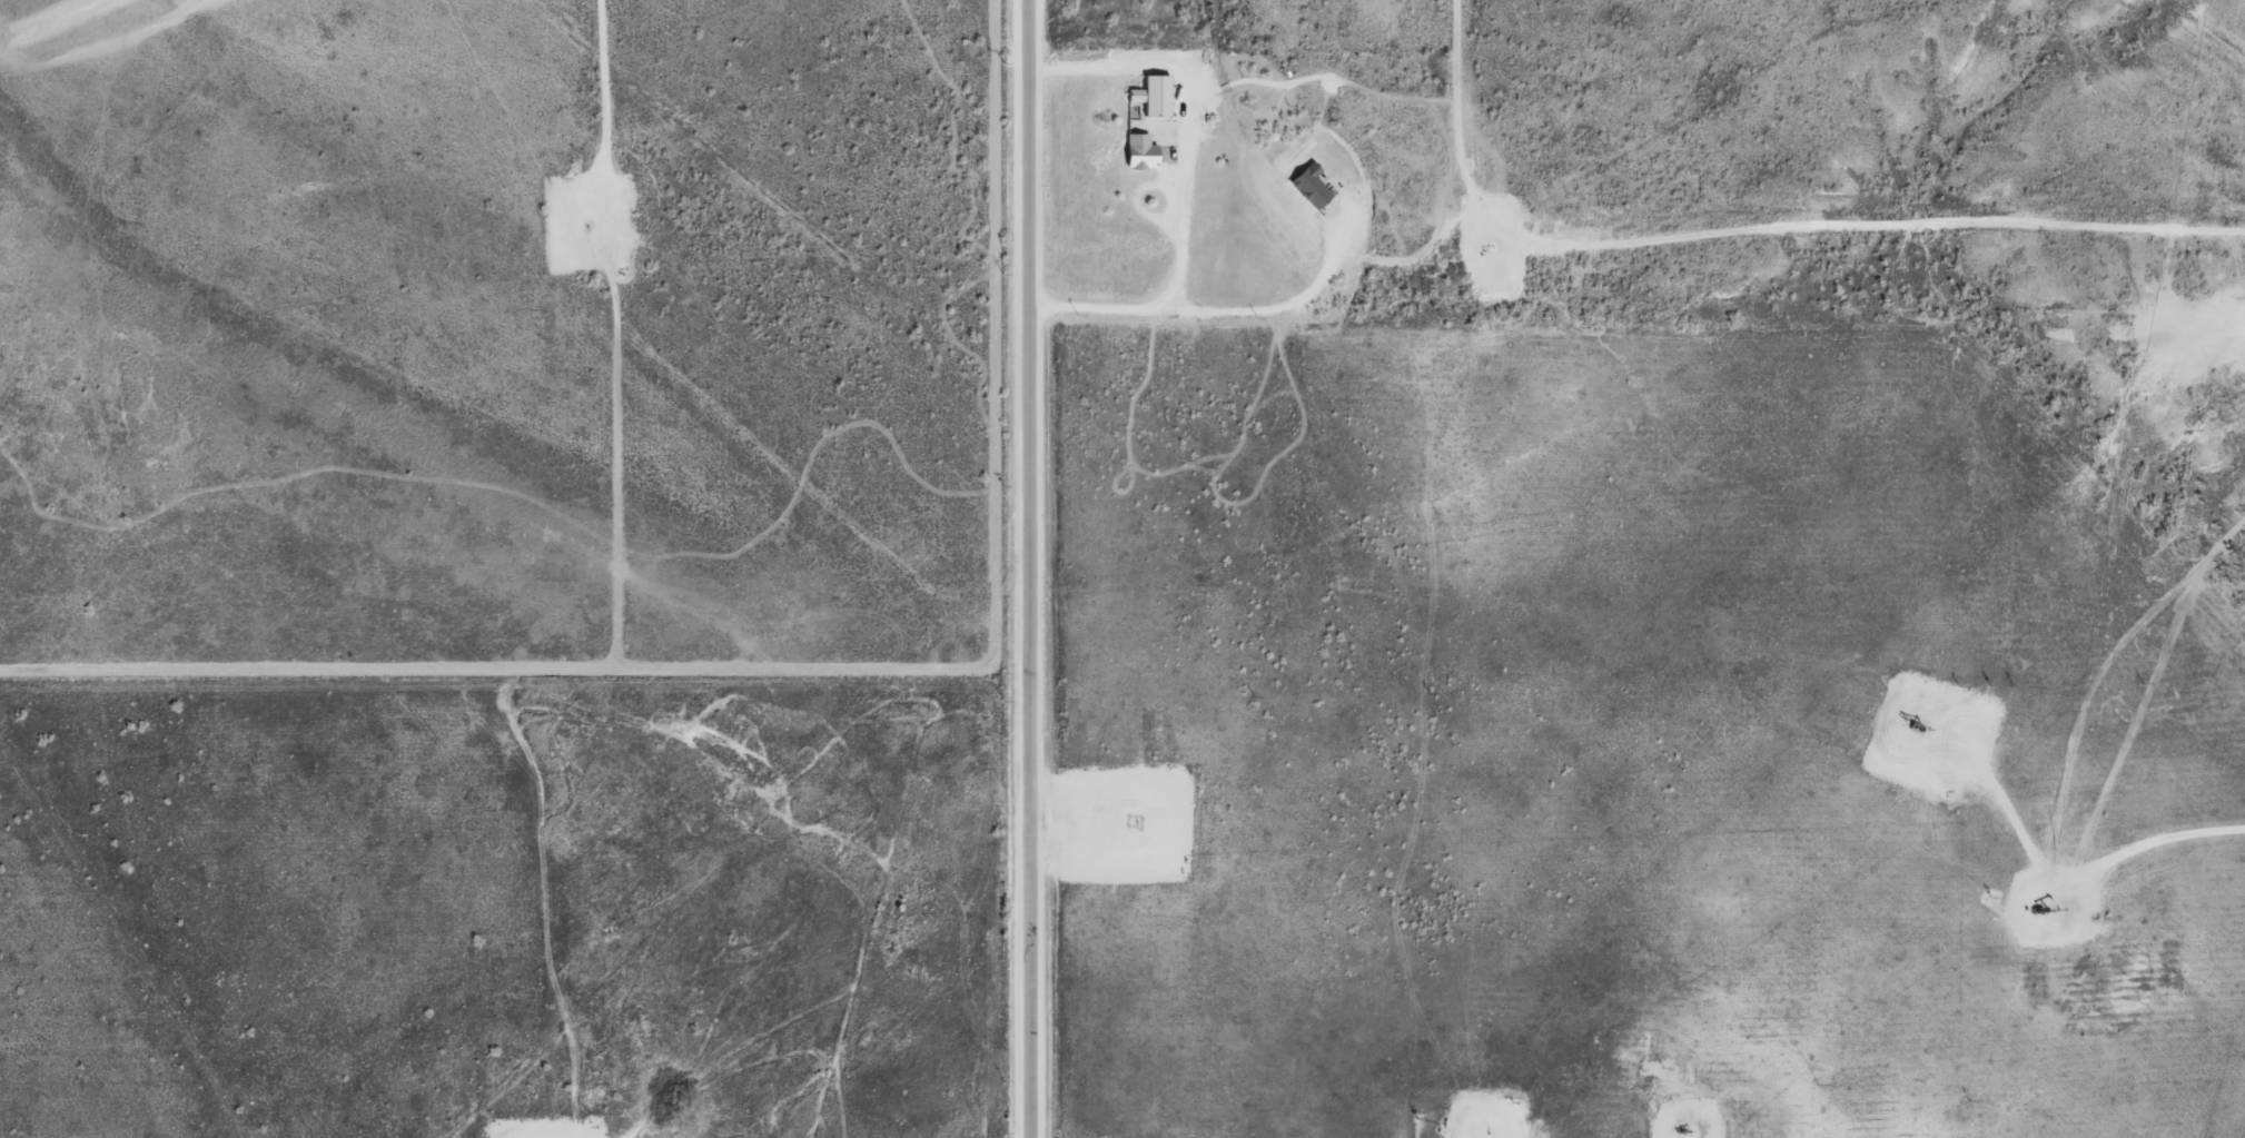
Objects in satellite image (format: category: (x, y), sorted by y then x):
building: (1151, 95)
road: (2133, 115)
building: (1139, 151)
road: (1661, 152)
building: (1309, 186)
road: (1206, 313)
road: (1028, 568)
road: (77, 978)
road: (547, 1124)

